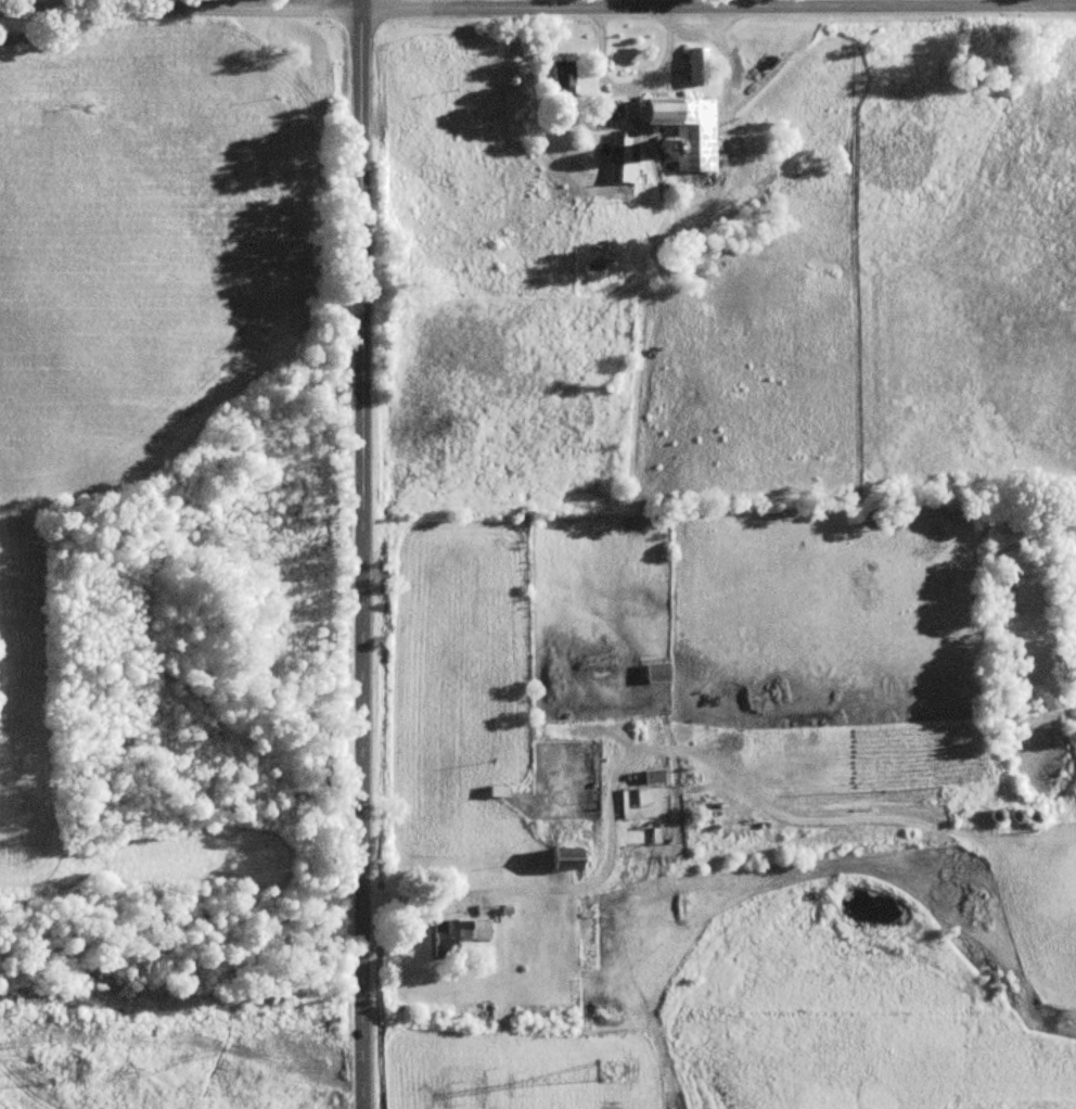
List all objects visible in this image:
road: (744, 3)
road: (1012, 3)
road: (67, 4)
road: (537, 9)
road: (699, 26)
building: (696, 67)
road: (625, 80)
building: (559, 81)
building: (602, 111)
building: (684, 130)
building: (624, 160)
road: (362, 554)
road: (633, 751)
building: (650, 777)
building: (495, 792)
building: (561, 861)
building: (454, 935)
power tower: (612, 1070)
power tower: (63, 1076)

